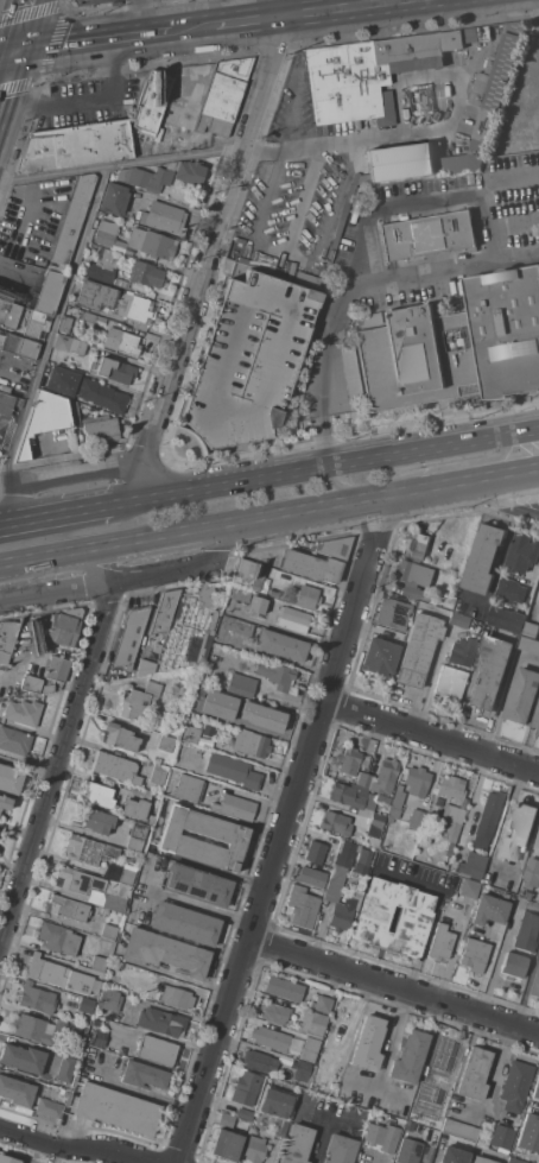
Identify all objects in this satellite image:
road: (94, 1)
road: (348, 8)
road: (139, 19)
road: (249, 23)
road: (25, 27)
road: (195, 30)
road: (95, 44)
road: (8, 56)
traffic signals: (18, 56)
building: (372, 72)
road: (8, 82)
building: (222, 96)
building: (489, 99)
road: (83, 101)
building: (150, 105)
building: (75, 146)
road: (228, 153)
building: (400, 162)
building: (189, 172)
building: (145, 178)
road: (303, 196)
building: (114, 198)
road: (414, 202)
building: (343, 211)
building: (163, 217)
building: (72, 219)
building: (127, 225)
building: (104, 235)
building: (427, 235)
building: (239, 239)
building: (151, 244)
road: (210, 252)
building: (102, 267)
road: (443, 272)
building: (146, 274)
building: (309, 280)
building: (49, 290)
building: (95, 295)
helipad: (291, 299)
building: (135, 308)
building: (8, 314)
building: (87, 320)
building: (33, 324)
building: (64, 327)
road: (55, 328)
building: (125, 343)
building: (455, 345)
building: (69, 346)
building: (19, 347)
building: (247, 360)
building: (114, 371)
building: (350, 372)
road: (325, 379)
building: (62, 381)
building: (102, 396)
building: (5, 404)
building: (47, 418)
building: (100, 429)
road: (325, 469)
road: (457, 469)
road: (81, 474)
road: (340, 488)
road: (527, 488)
road: (19, 504)
road: (56, 516)
road: (268, 516)
building: (417, 545)
building: (335, 548)
building: (522, 552)
building: (484, 557)
building: (310, 565)
building: (272, 574)
building: (248, 575)
building: (414, 577)
road: (129, 581)
building: (512, 589)
building: (237, 594)
building: (304, 596)
building: (255, 605)
building: (164, 612)
building: (392, 614)
building: (292, 619)
building: (507, 619)
building: (213, 620)
building: (459, 620)
building: (64, 627)
building: (531, 628)
road: (285, 631)
building: (129, 636)
building: (267, 639)
building: (7, 640)
building: (528, 644)
road: (34, 646)
building: (203, 647)
building: (152, 649)
building: (417, 650)
building: (462, 652)
building: (378, 657)
building: (57, 669)
building: (490, 672)
building: (275, 675)
building: (450, 682)
building: (240, 684)
building: (36, 685)
building: (522, 695)
building: (138, 701)
building: (199, 704)
building: (23, 712)
building: (262, 716)
building: (537, 720)
building: (208, 731)
building: (191, 733)
road: (432, 737)
building: (119, 738)
building: (14, 741)
building: (165, 744)
building: (251, 744)
road: (64, 751)
building: (349, 761)
building: (114, 767)
building: (233, 770)
building: (158, 775)
building: (382, 777)
building: (9, 779)
building: (360, 779)
building: (417, 782)
building: (188, 788)
building: (451, 788)
building: (97, 795)
building: (355, 797)
building: (5, 803)
building: (394, 804)
building: (235, 807)
building: (134, 808)
building: (488, 814)
building: (435, 815)
building: (378, 817)
building: (416, 820)
building: (96, 821)
building: (451, 822)
building: (335, 823)
building: (368, 826)
road: (286, 830)
building: (518, 832)
building: (137, 836)
building: (538, 836)
building: (336, 840)
building: (179, 841)
building: (88, 851)
building: (315, 852)
building: (331, 855)
building: (350, 860)
building: (329, 862)
building: (470, 865)
building: (532, 873)
building: (126, 876)
building: (311, 877)
building: (77, 881)
building: (197, 884)
building: (469, 889)
building: (527, 893)
building: (114, 903)
road: (205, 906)
building: (300, 906)
building: (68, 909)
building: (488, 910)
road: (433, 911)
building: (343, 912)
building: (412, 922)
building: (184, 923)
building: (108, 931)
building: (526, 931)
building: (57, 938)
building: (439, 942)
building: (164, 953)
building: (474, 955)
building: (99, 963)
building: (514, 966)
building: (94, 973)
building: (135, 973)
building: (59, 975)
building: (535, 982)
road: (395, 987)
building: (283, 988)
road: (526, 988)
building: (167, 993)
building: (36, 999)
building: (109, 1000)
building: (322, 1004)
building: (85, 1005)
building: (273, 1012)
building: (161, 1022)
building: (95, 1023)
building: (312, 1024)
building: (32, 1029)
building: (74, 1035)
building: (269, 1038)
road: (391, 1042)
building: (368, 1043)
building: (309, 1049)
building: (157, 1050)
building: (410, 1057)
building: (23, 1058)
building: (259, 1062)
building: (65, 1069)
building: (302, 1070)
road: (496, 1070)
building: (438, 1072)
building: (474, 1074)
building: (141, 1075)
building: (537, 1085)
building: (515, 1086)
building: (245, 1088)
building: (70, 1089)
building: (15, 1092)
road: (376, 1092)
building: (287, 1105)
building: (49, 1107)
building: (116, 1108)
building: (243, 1114)
building: (411, 1117)
road: (337, 1120)
building: (229, 1121)
building: (280, 1124)
building: (408, 1126)
road: (323, 1130)
building: (426, 1130)
building: (459, 1130)
building: (527, 1134)
building: (382, 1137)
building: (501, 1138)
building: (296, 1144)
building: (226, 1145)
building: (340, 1149)
road: (70, 1150)
building: (254, 1150)
building: (412, 1152)
building: (534, 1153)
building: (452, 1156)
building: (480, 1161)
building: (514, 1161)
building: (1, 1162)

